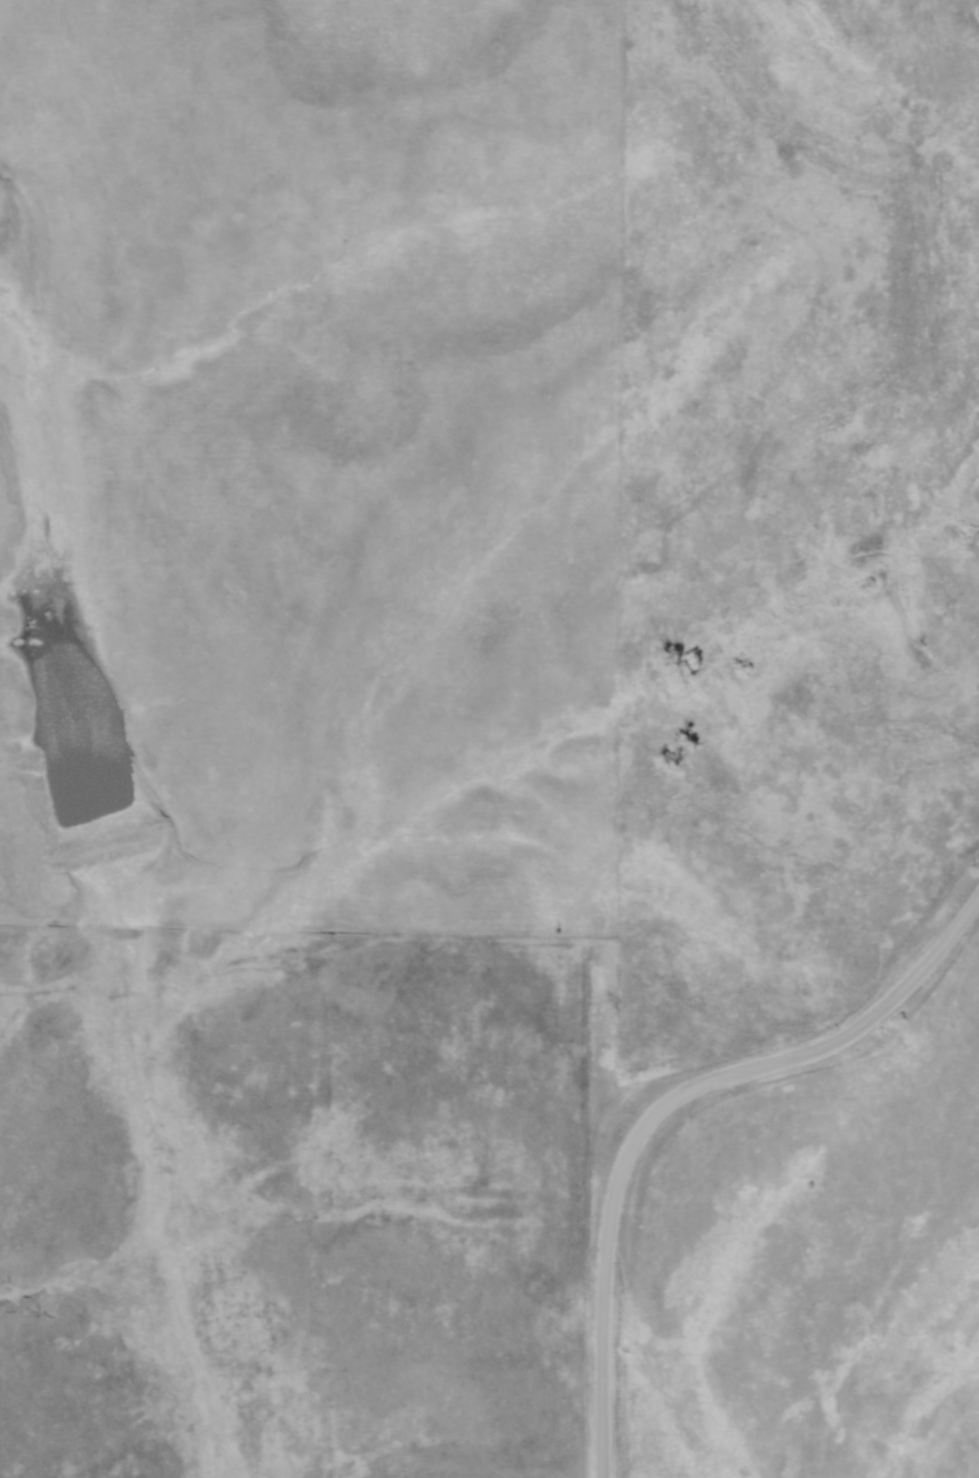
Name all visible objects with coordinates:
road: (666, 1110)

